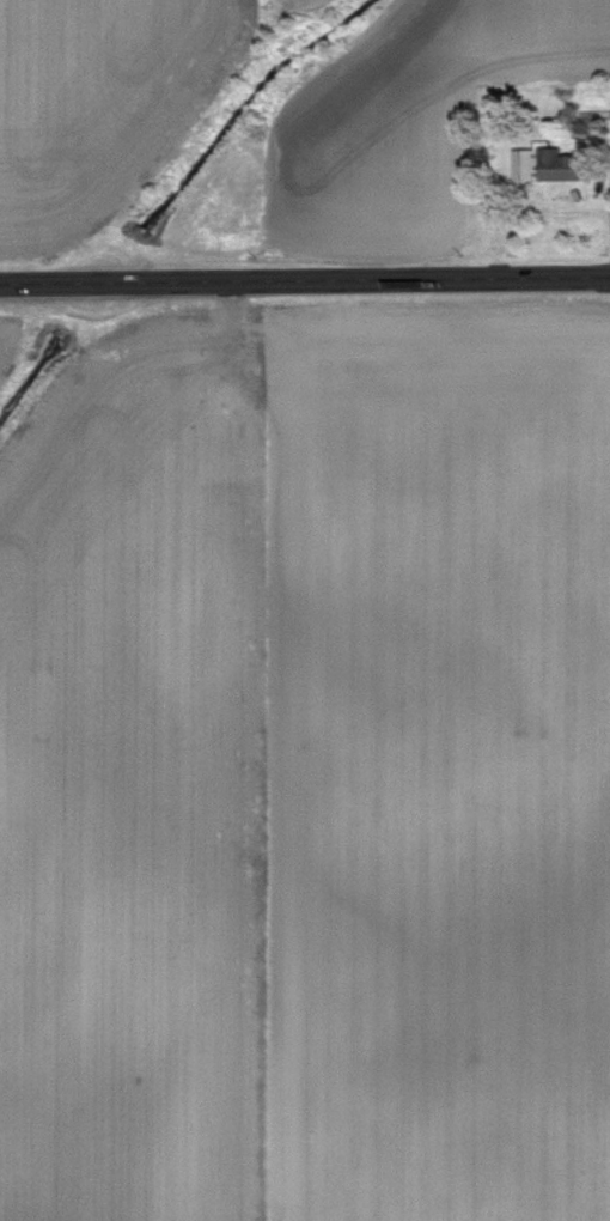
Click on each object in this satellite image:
building: (524, 165)
building: (563, 166)
road: (305, 279)

